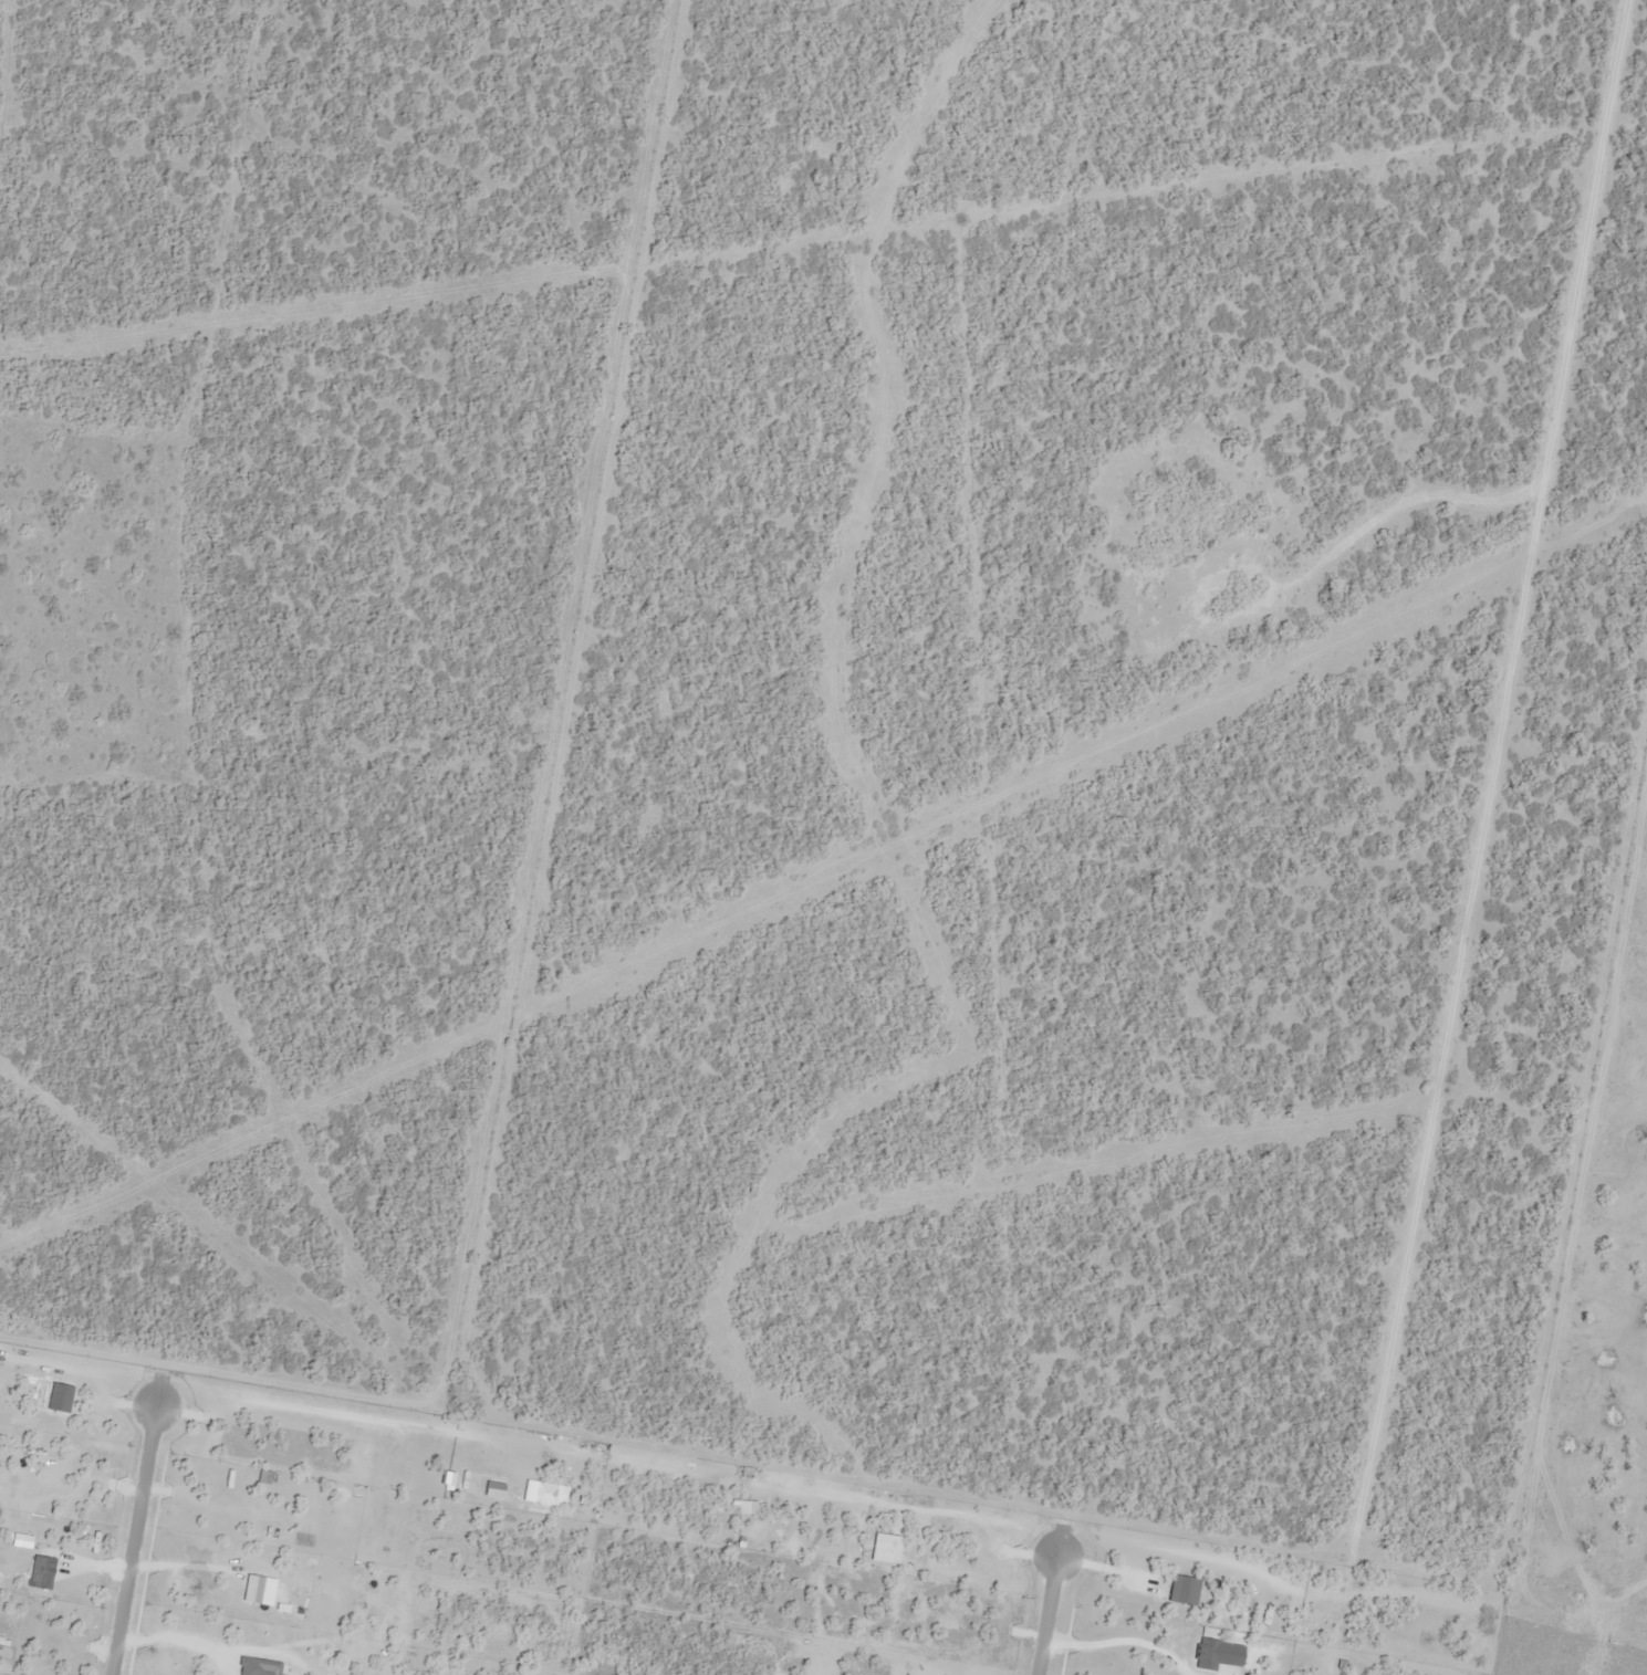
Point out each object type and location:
road: (1479, 837)
road: (673, 1468)
road: (134, 1539)
road: (1046, 1615)

